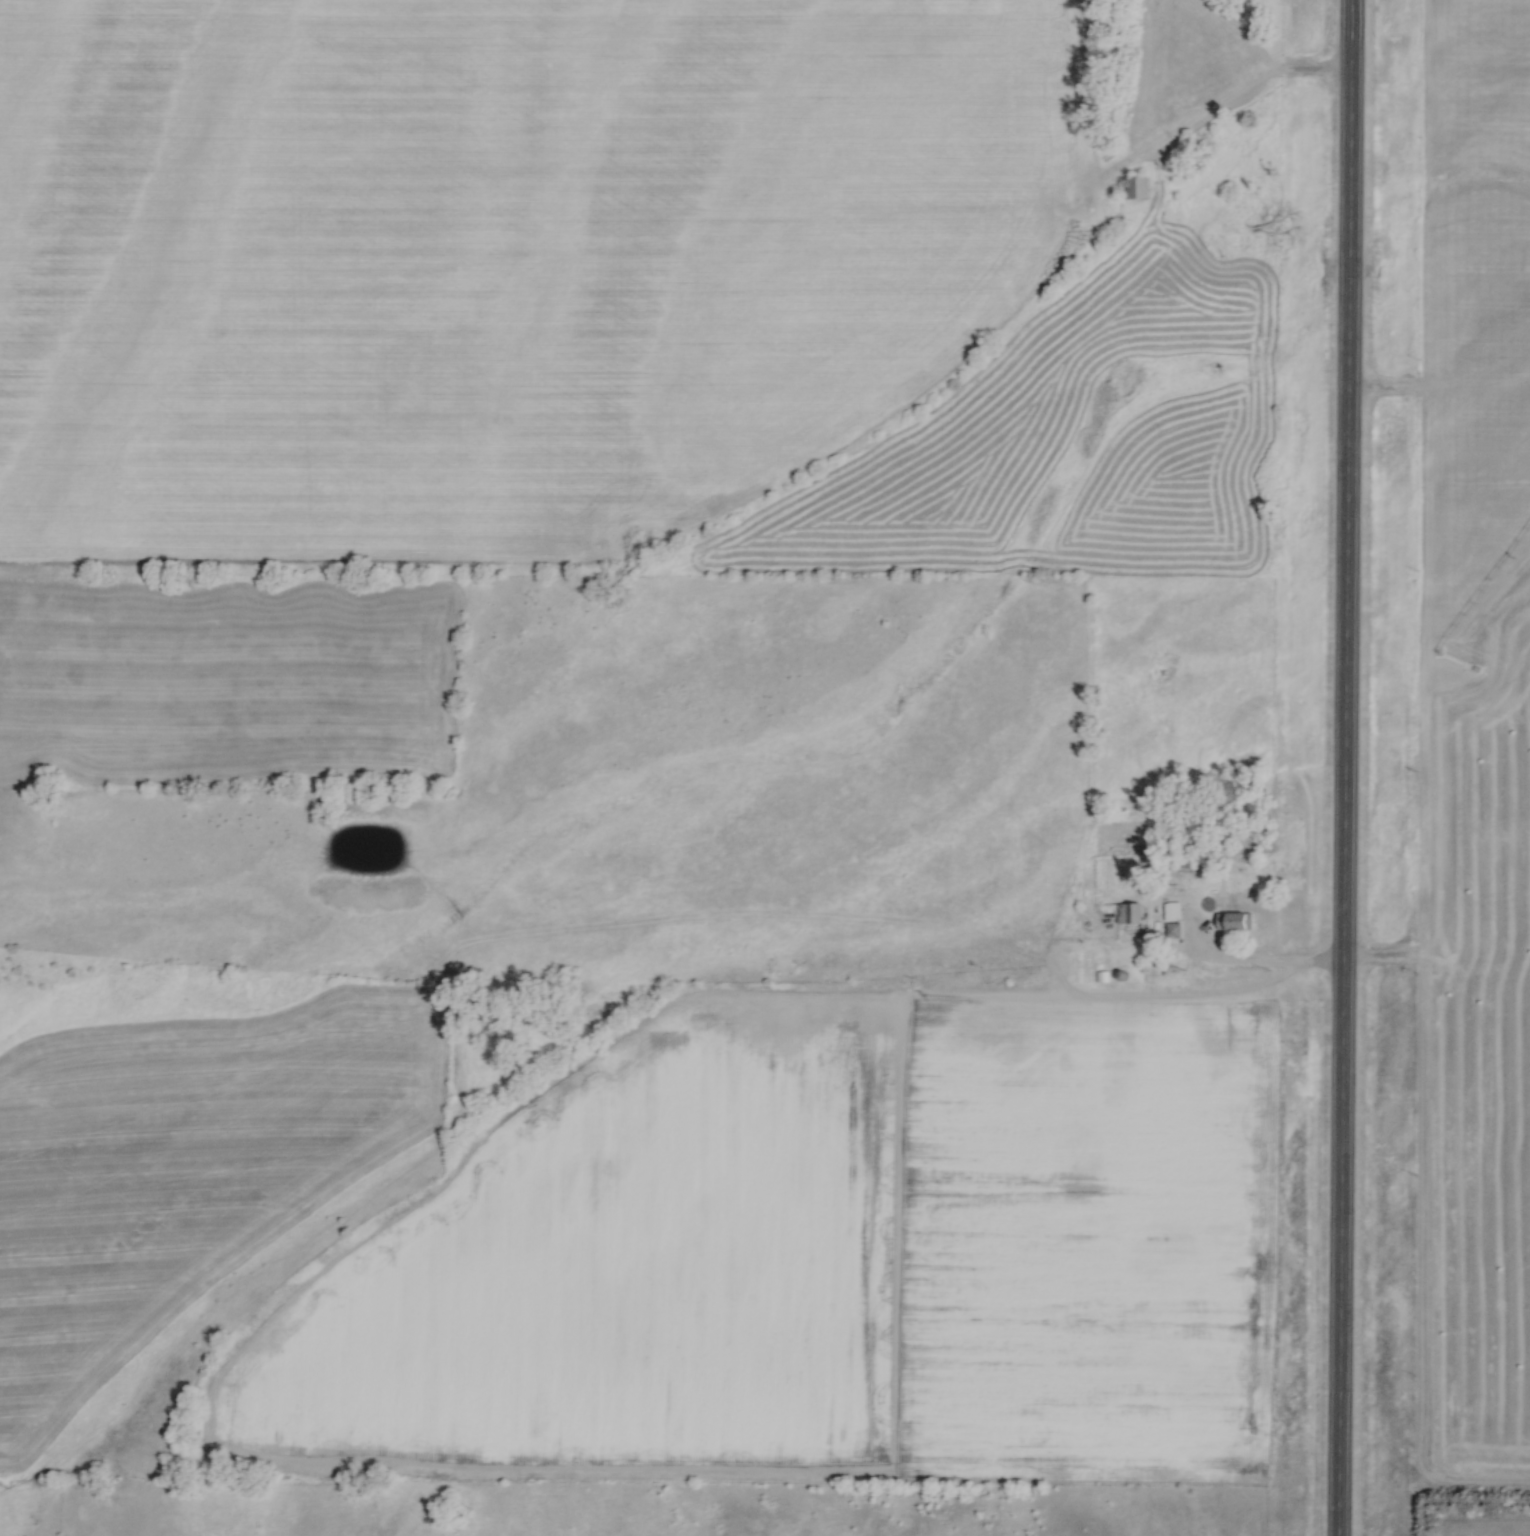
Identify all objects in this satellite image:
road: (1236, 92)
building: (1134, 188)
road: (1341, 767)
building: (1173, 912)
building: (1128, 914)
building: (1234, 922)
building: (1173, 931)
road: (1255, 966)

